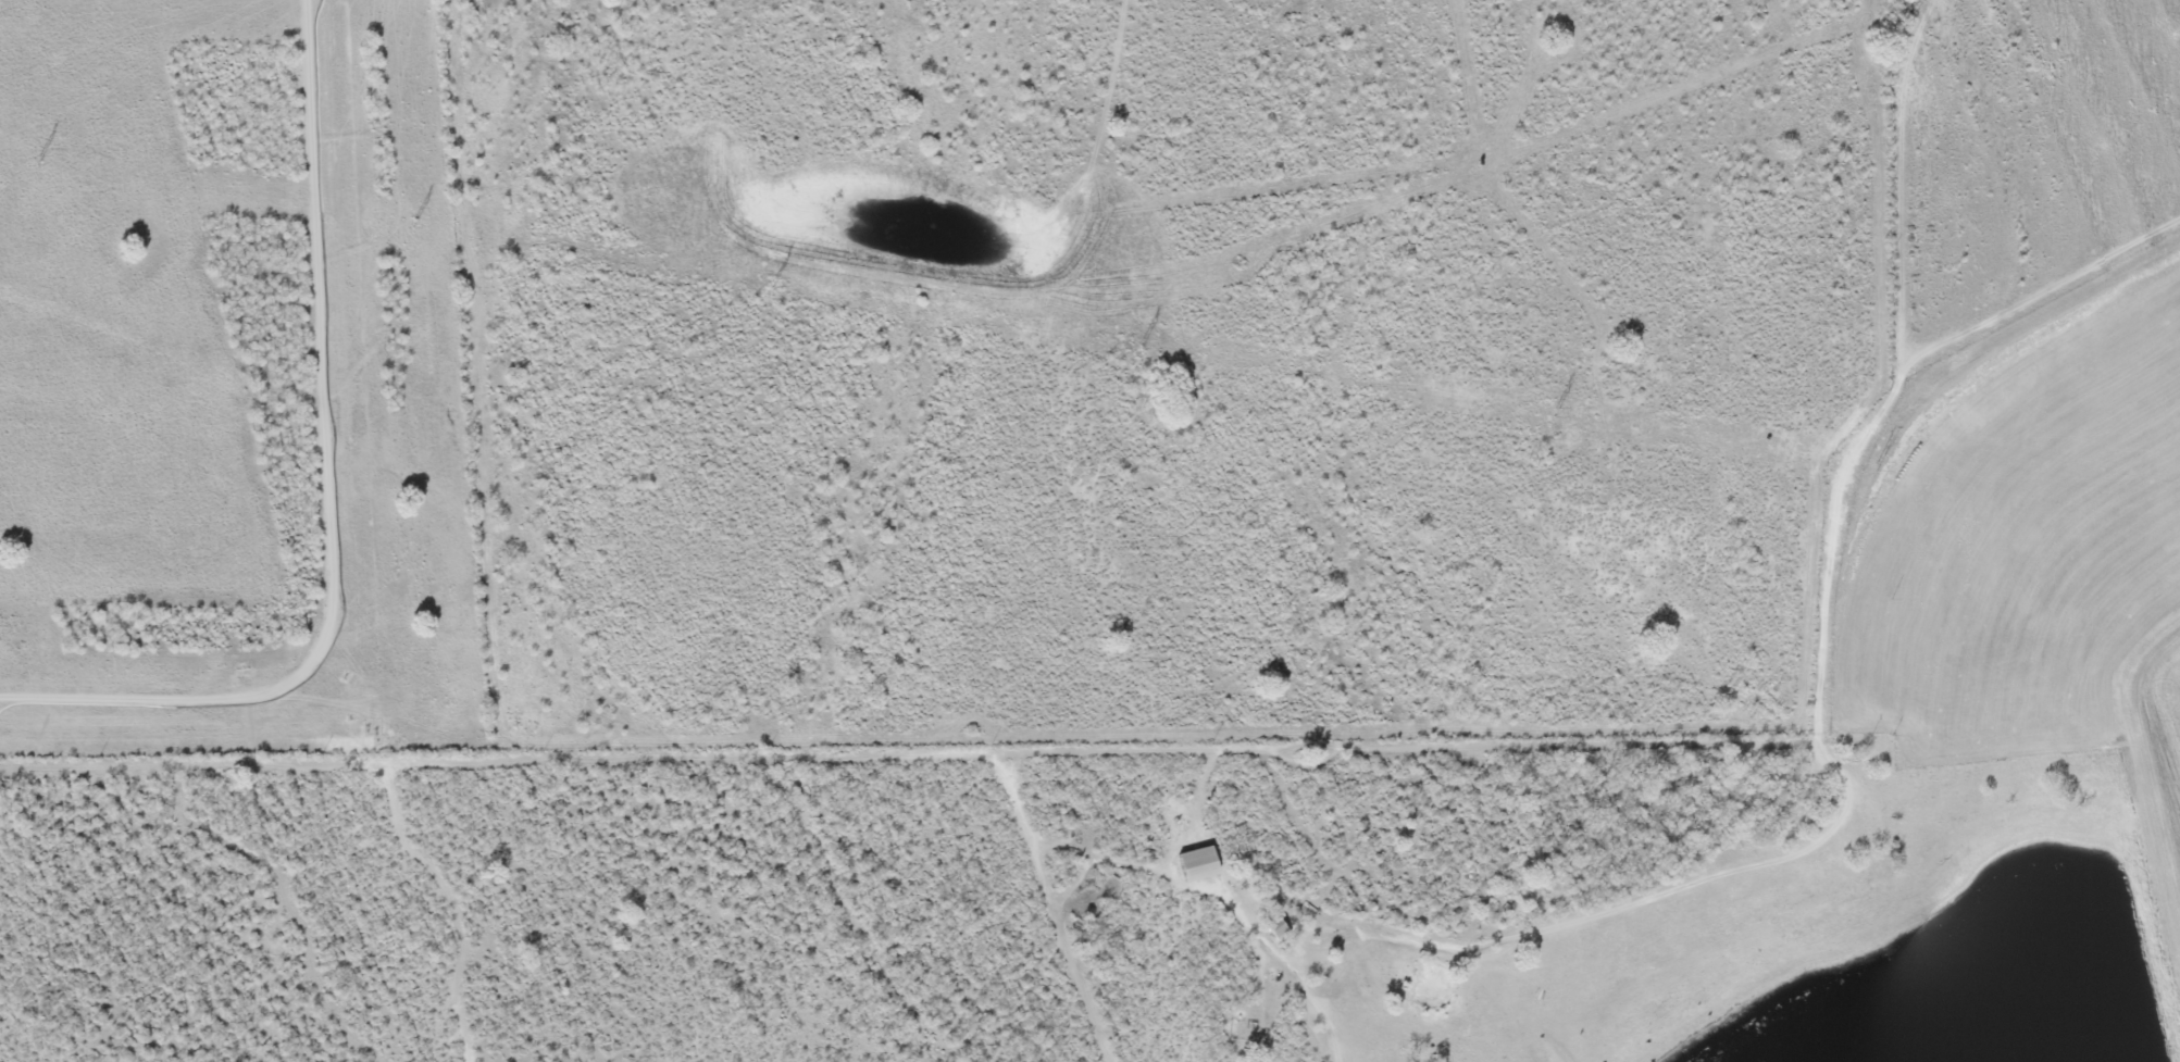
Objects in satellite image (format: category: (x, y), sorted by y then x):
power tower: (38, 162)
power tower: (414, 225)
power tower: (769, 284)
power tower: (1139, 346)
power tower: (1552, 414)
power tower: (1874, 465)
dam: (2158, 774)
building: (1195, 865)
building: (1274, 930)

